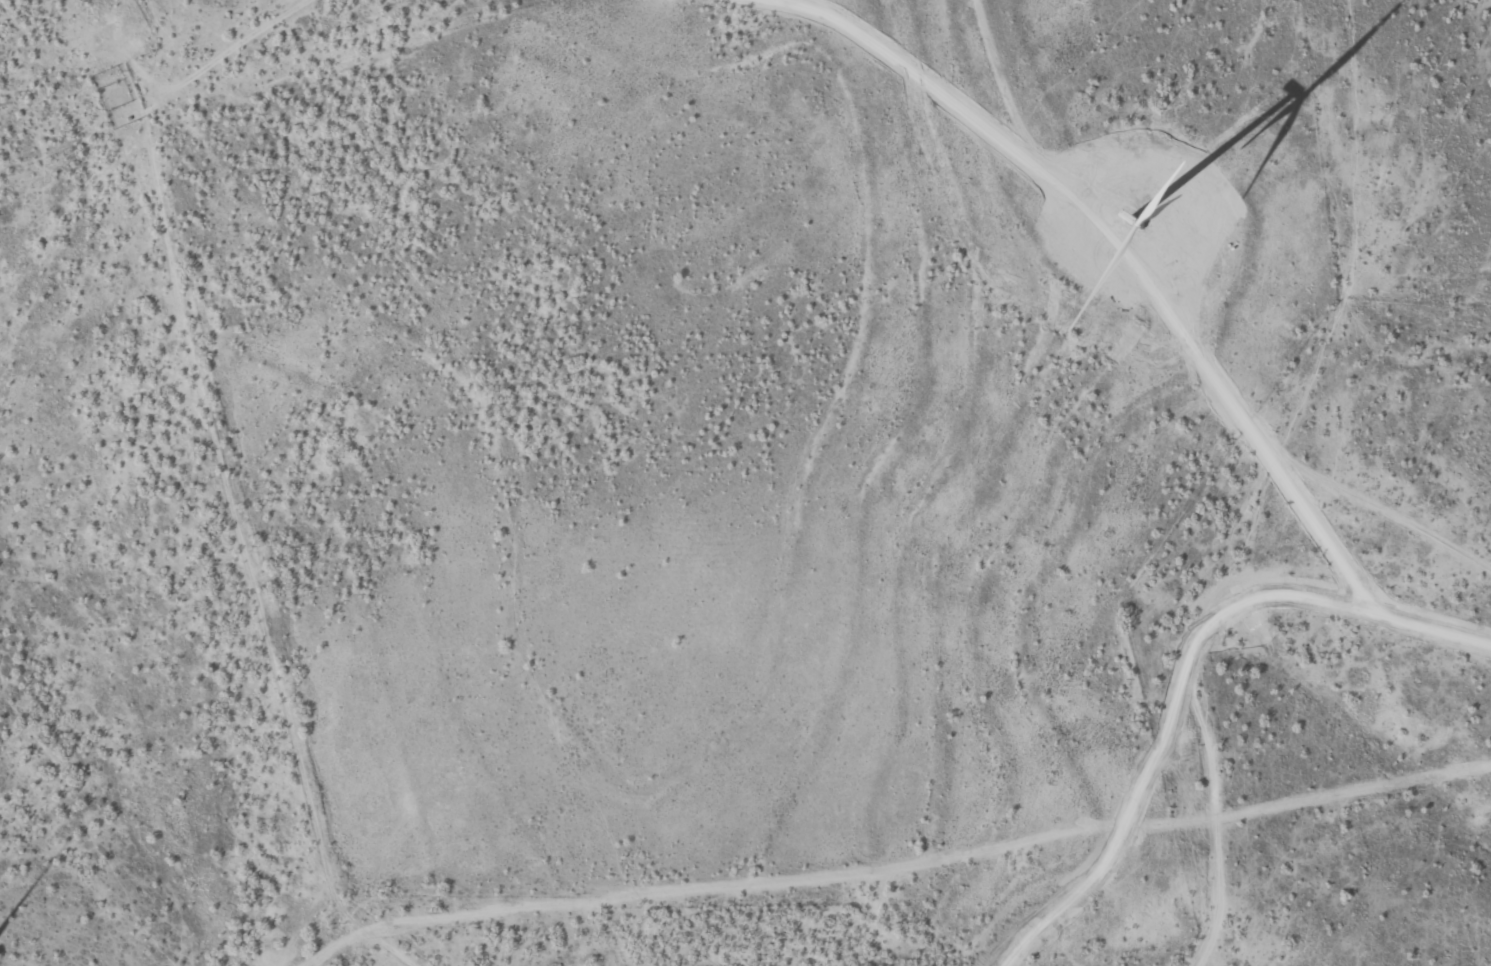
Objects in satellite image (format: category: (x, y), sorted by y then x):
wind turbine: (1128, 218)
road: (1209, 666)

